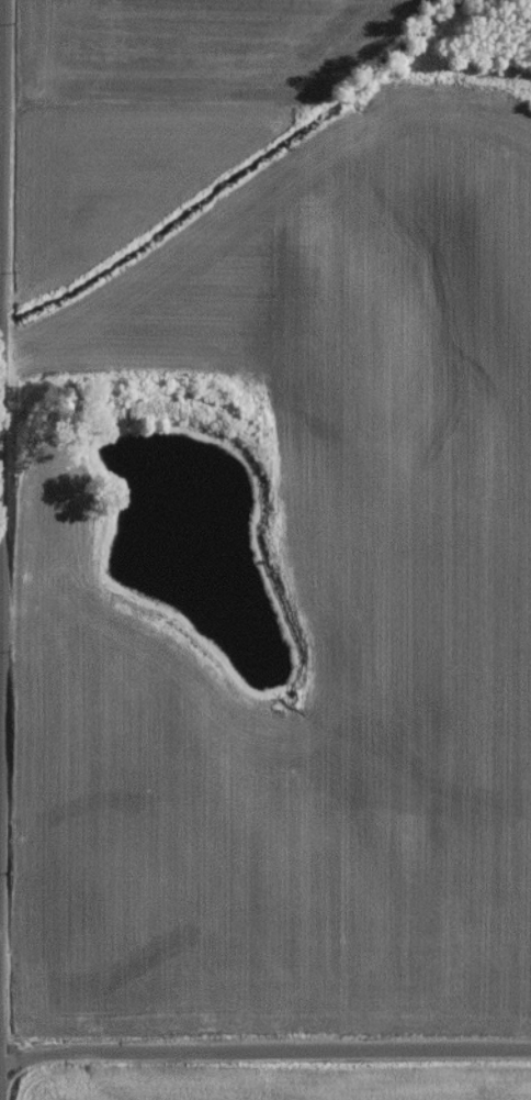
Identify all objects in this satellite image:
road: (4, 549)
road: (267, 1051)

